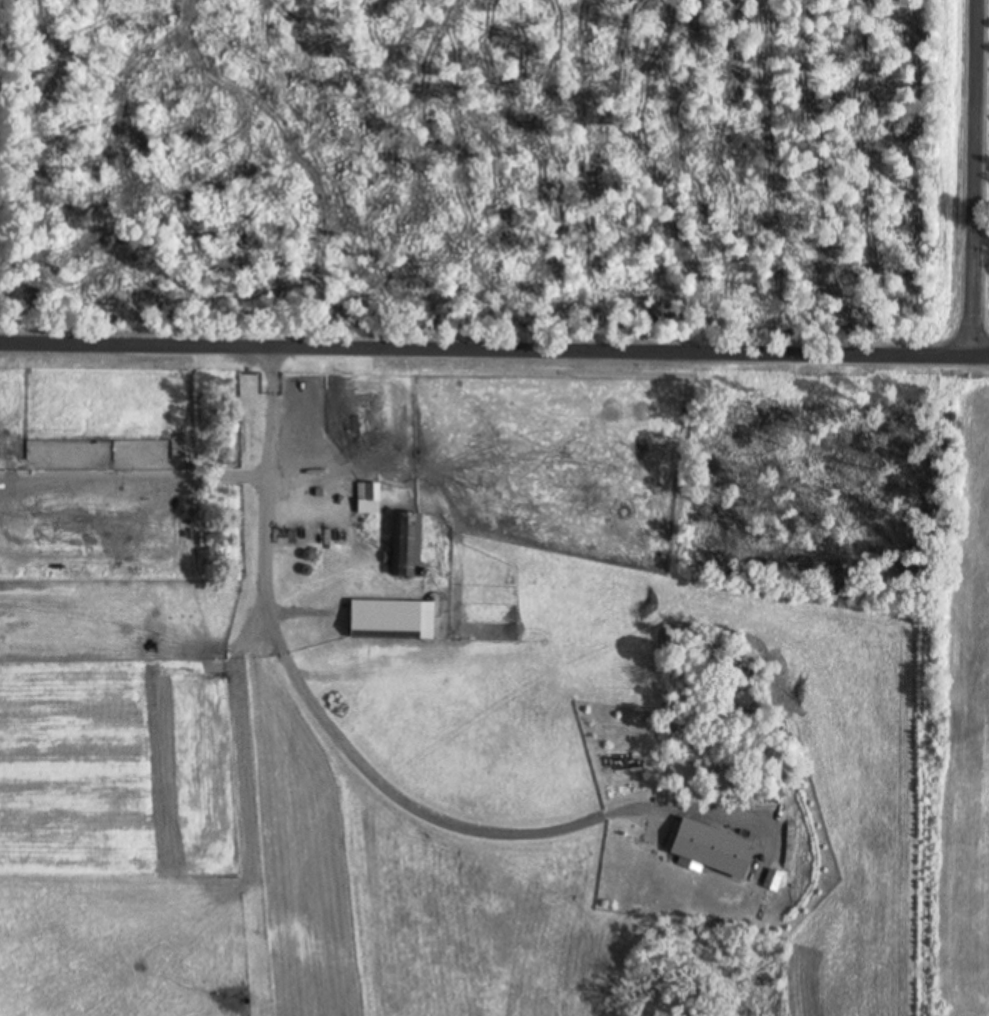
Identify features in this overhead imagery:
road: (988, 219)
road: (494, 350)
building: (369, 492)
building: (410, 545)
road: (318, 717)
building: (718, 849)

